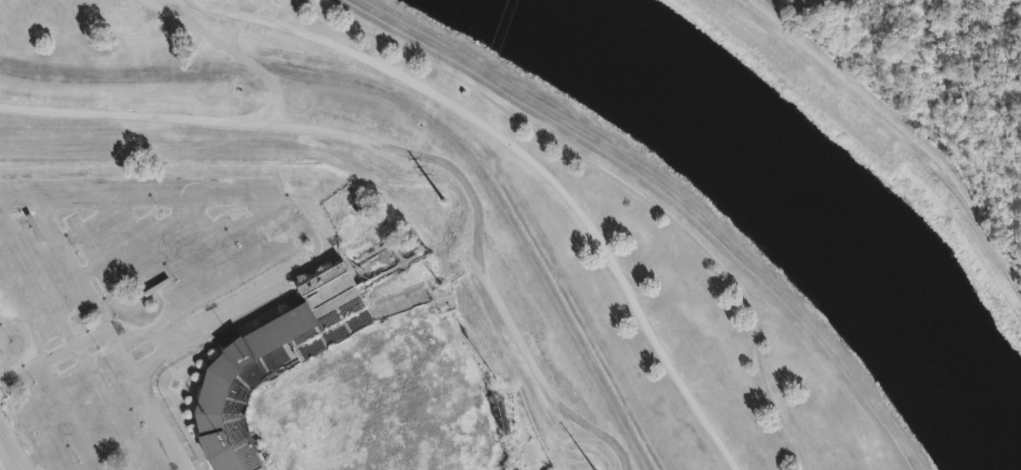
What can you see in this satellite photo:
road: (182, 10)
road: (229, 112)
road: (890, 136)
road: (532, 157)
road: (620, 178)
river: (796, 197)
park: (620, 199)
parking lot: (131, 251)
road: (59, 356)
park: (357, 376)
building: (355, 380)
stadium: (358, 382)
parking lot: (87, 423)
road: (12, 448)
power tower: (871, 451)

